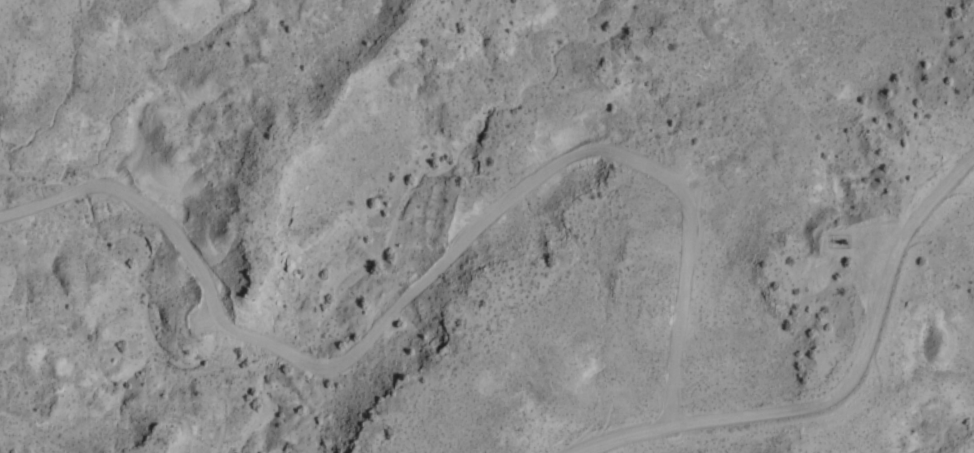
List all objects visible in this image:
road: (837, 393)

